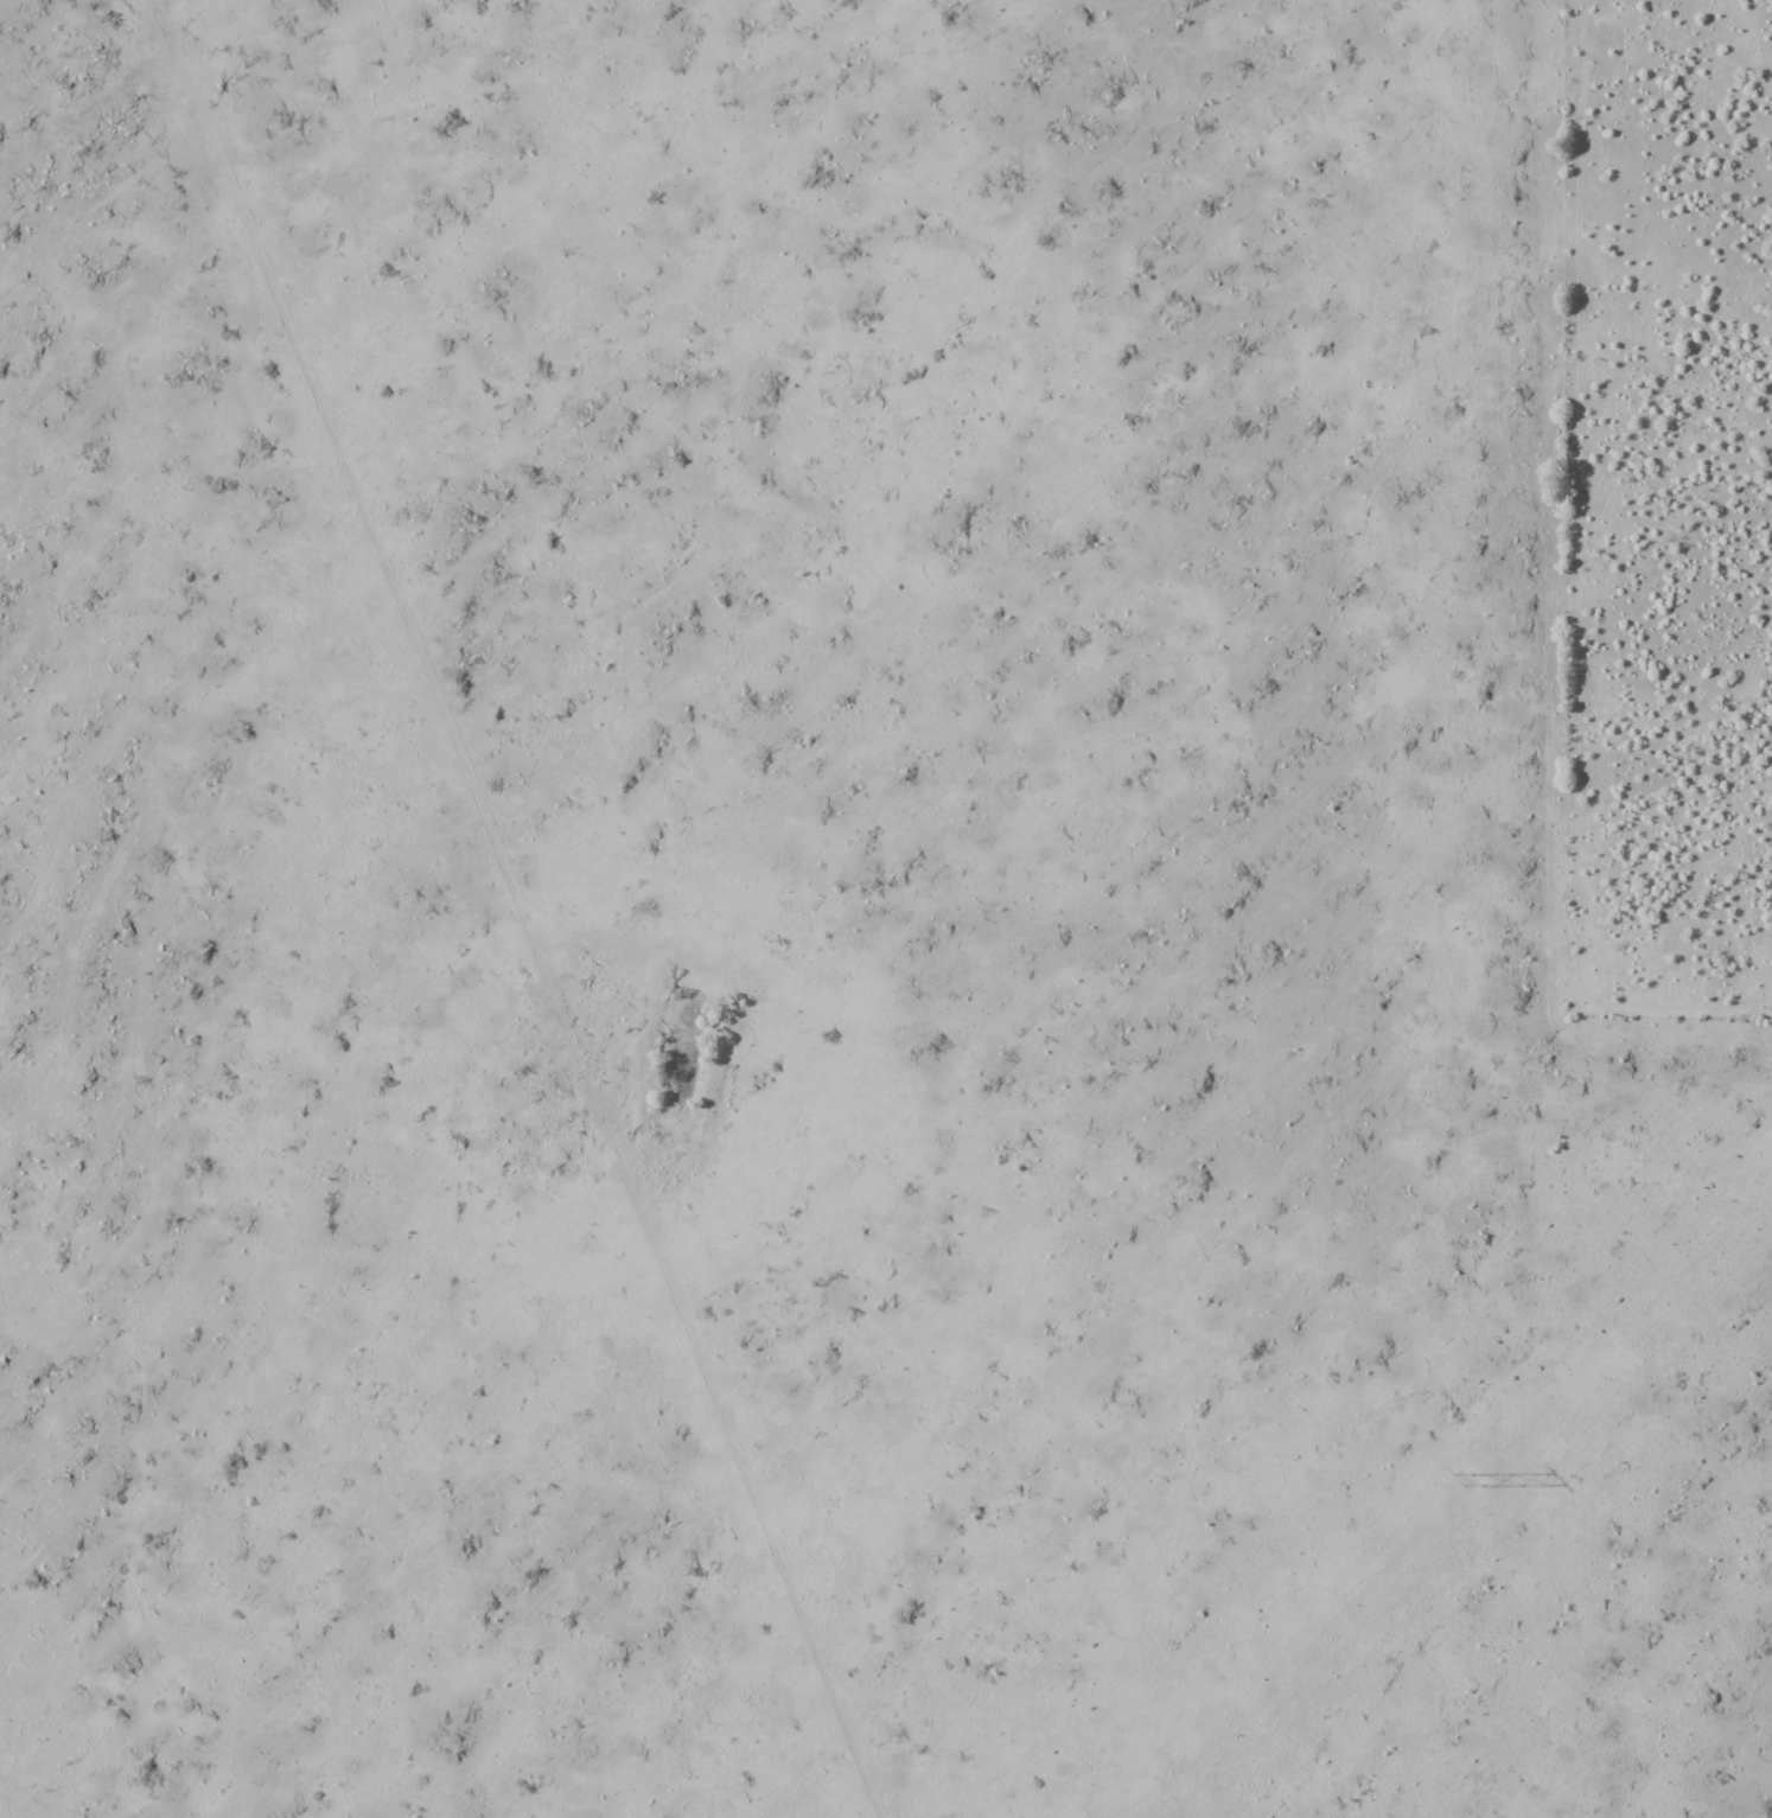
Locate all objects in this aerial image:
power tower: (1480, 1482)

